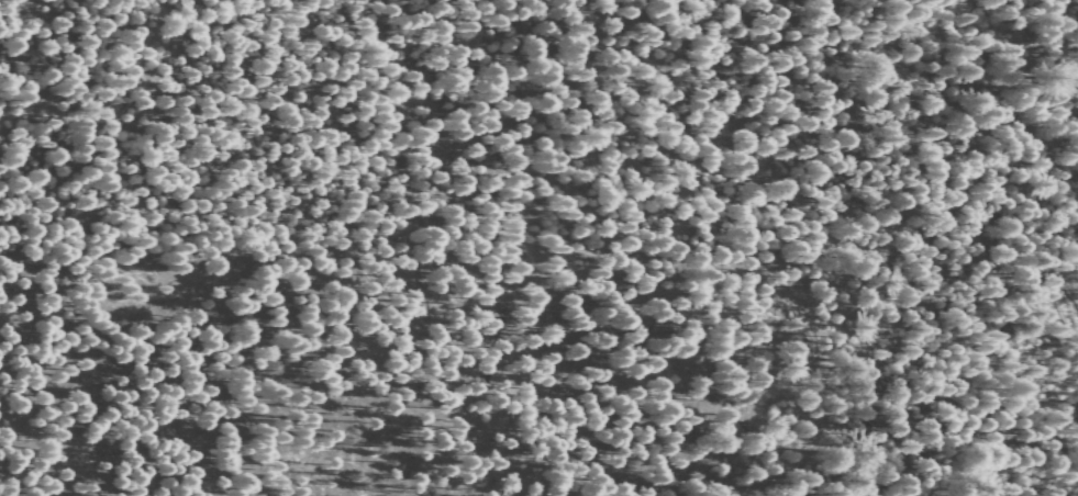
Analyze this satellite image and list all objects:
road: (1010, 433)
road: (752, 481)

